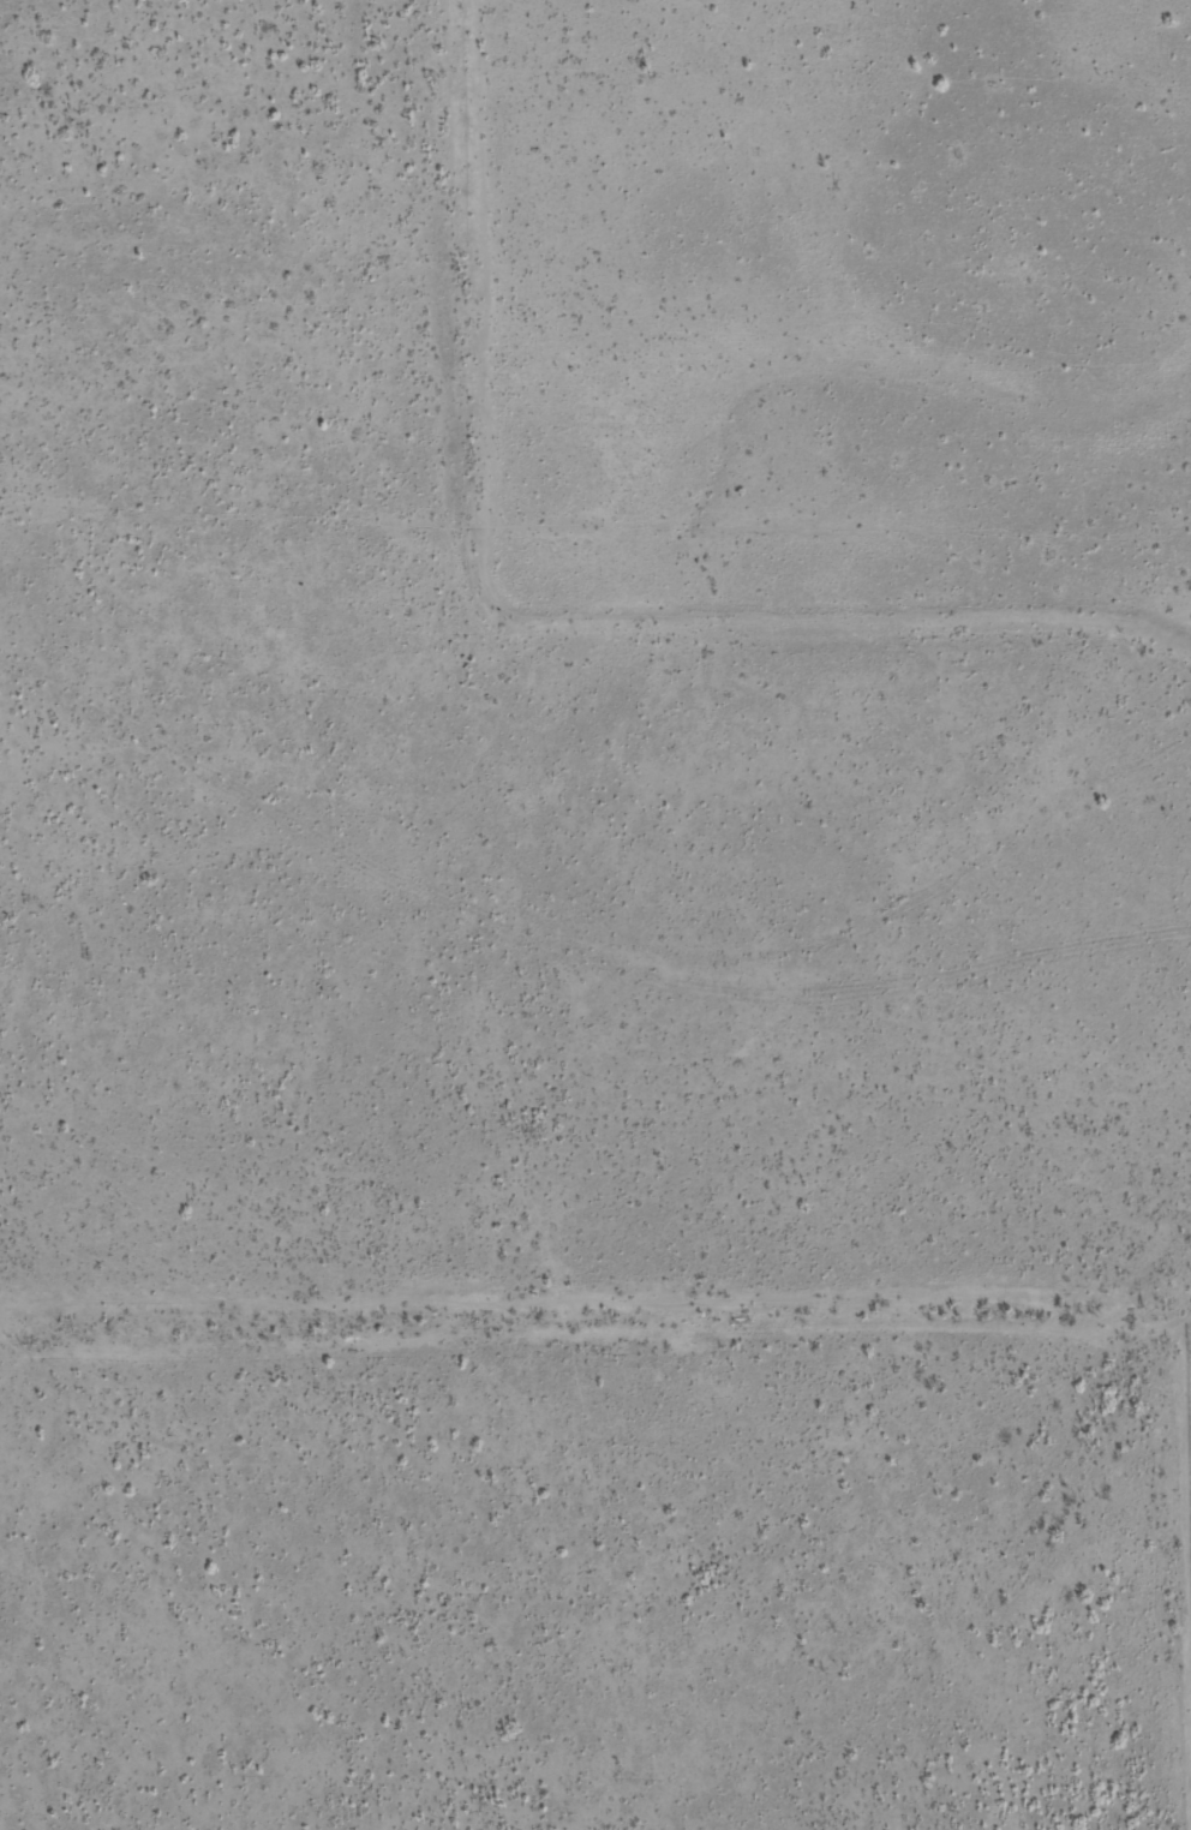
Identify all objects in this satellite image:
road: (595, 1318)

